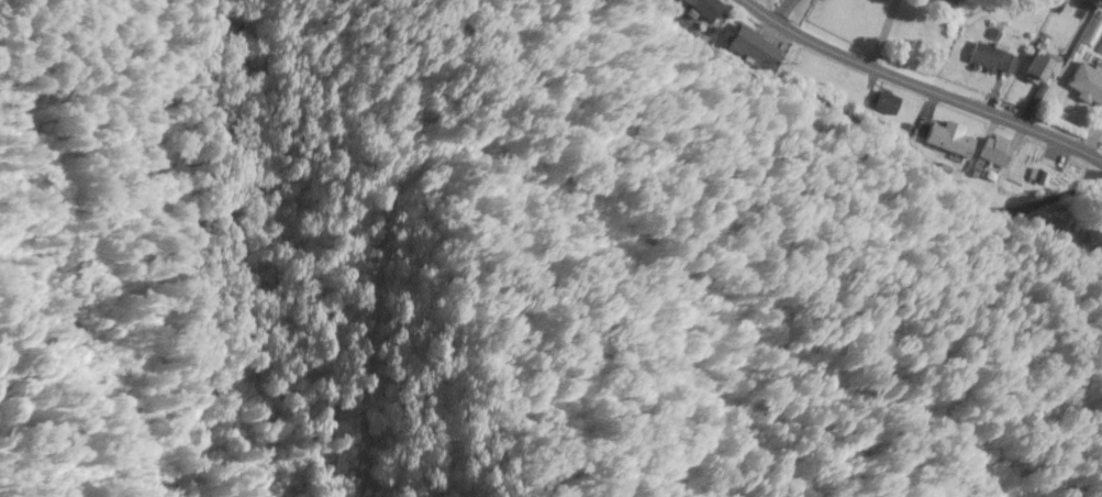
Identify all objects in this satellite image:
building: (951, 2)
building: (993, 60)
building: (1040, 71)
road: (933, 77)
building: (1087, 82)
building: (950, 140)
building: (991, 159)

